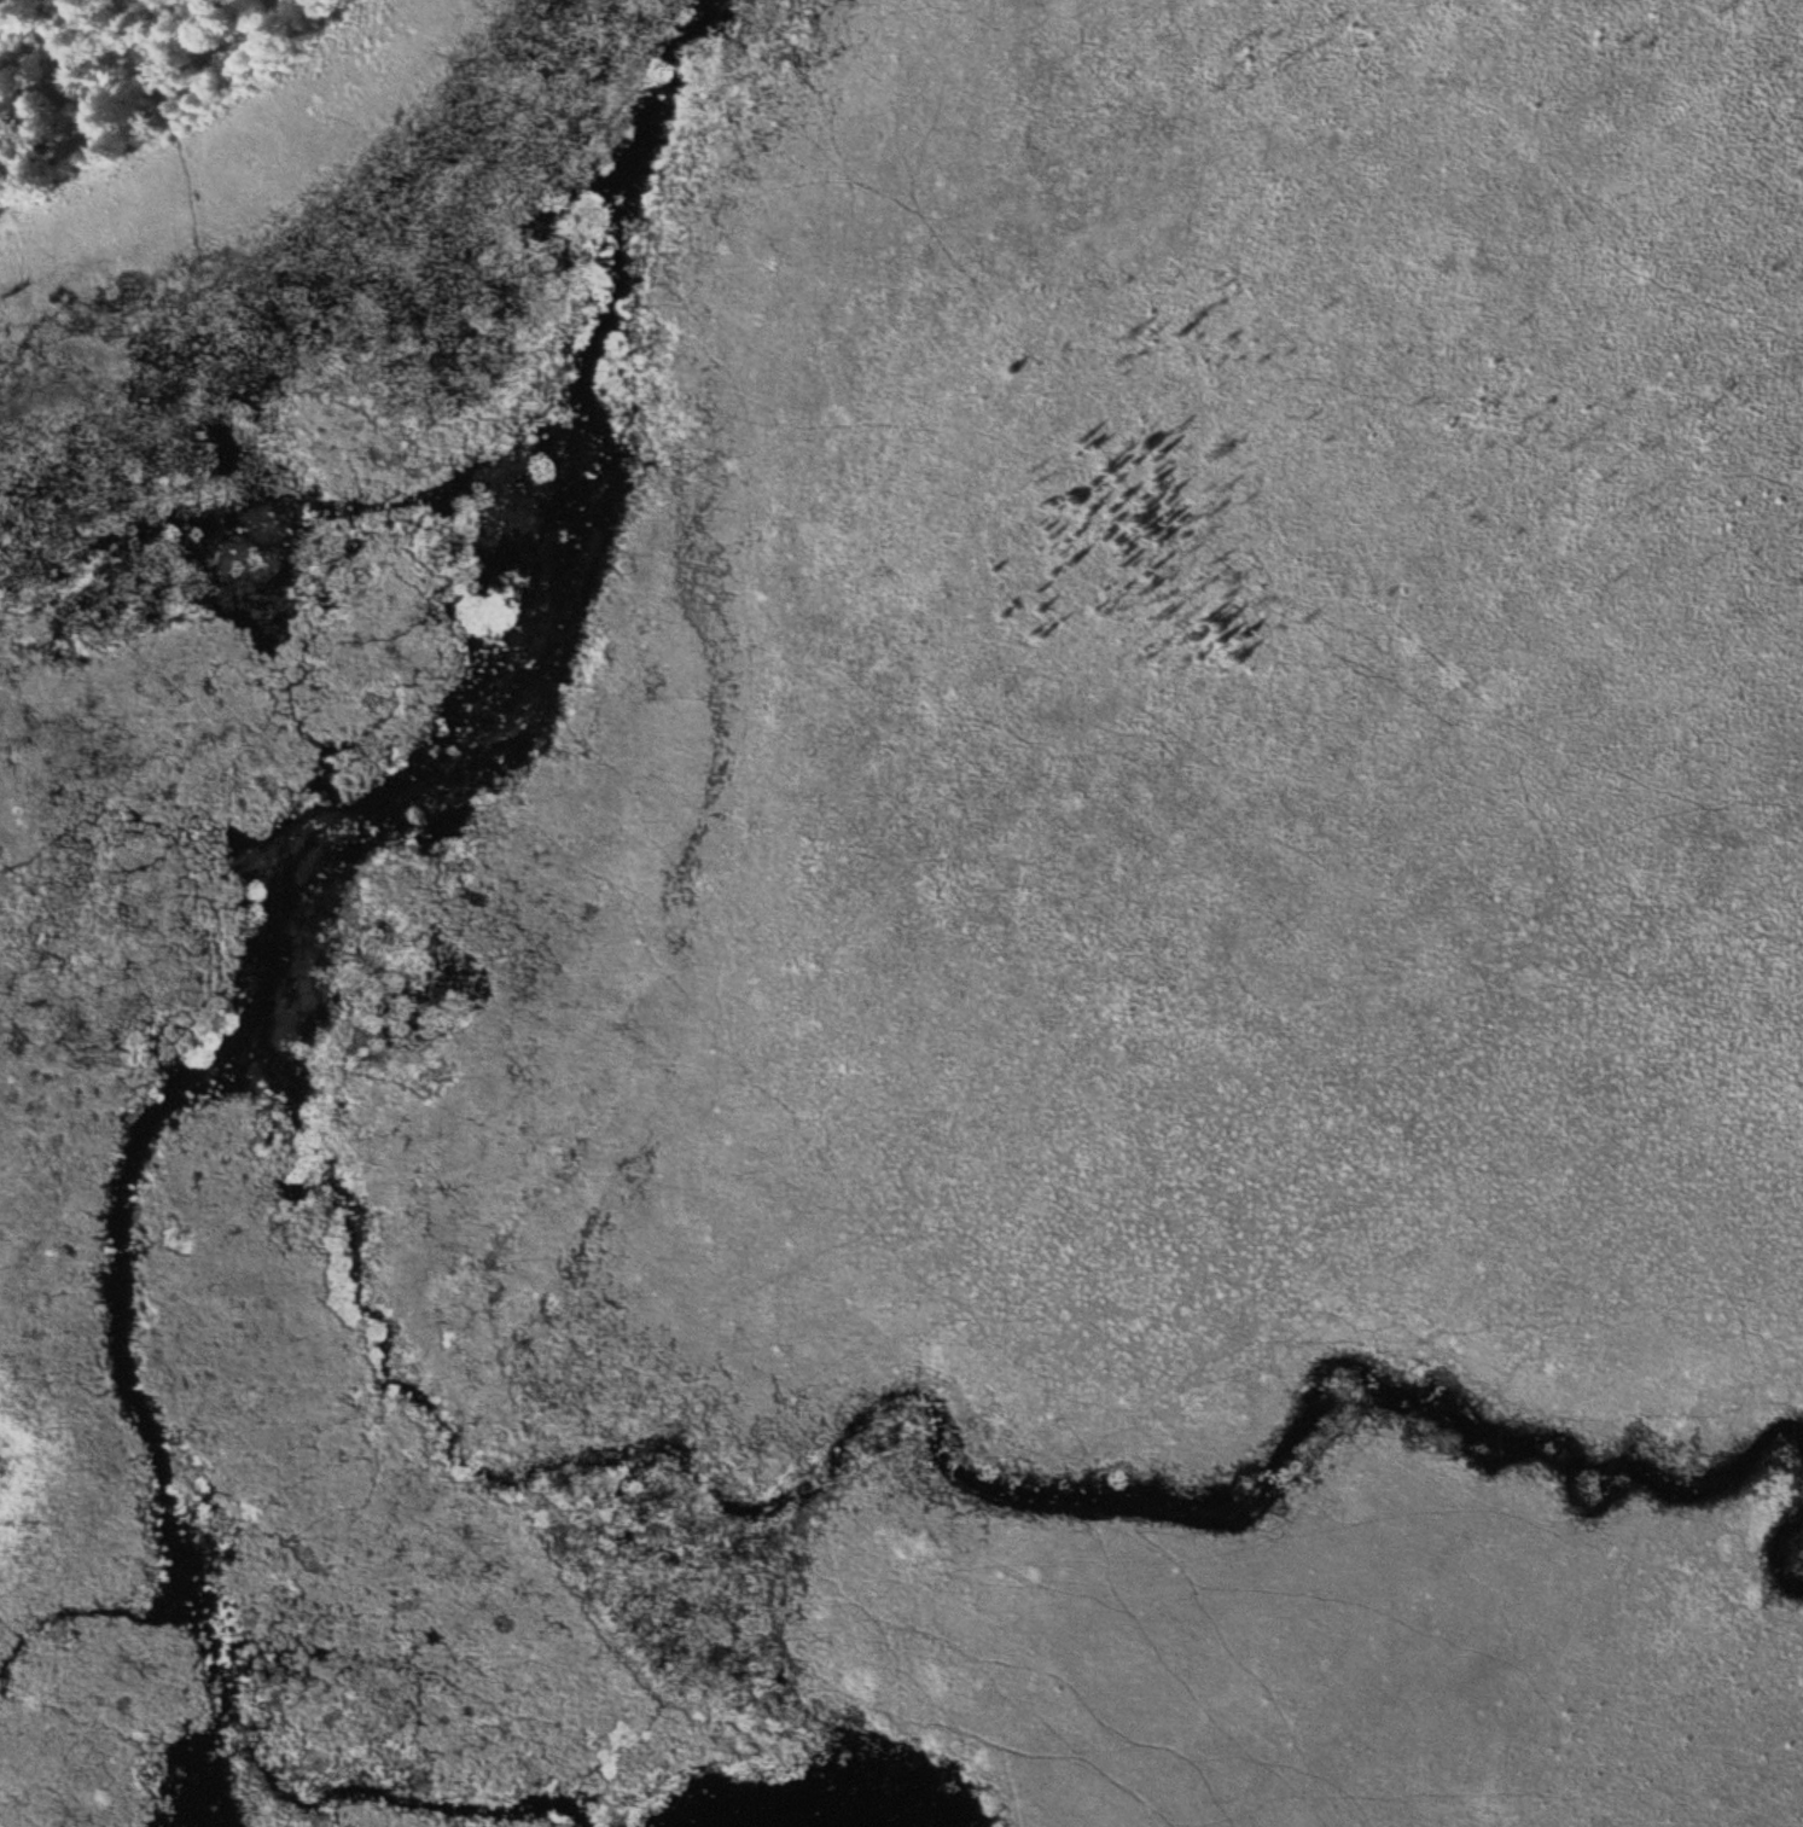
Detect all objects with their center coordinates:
road: (10, 13)

